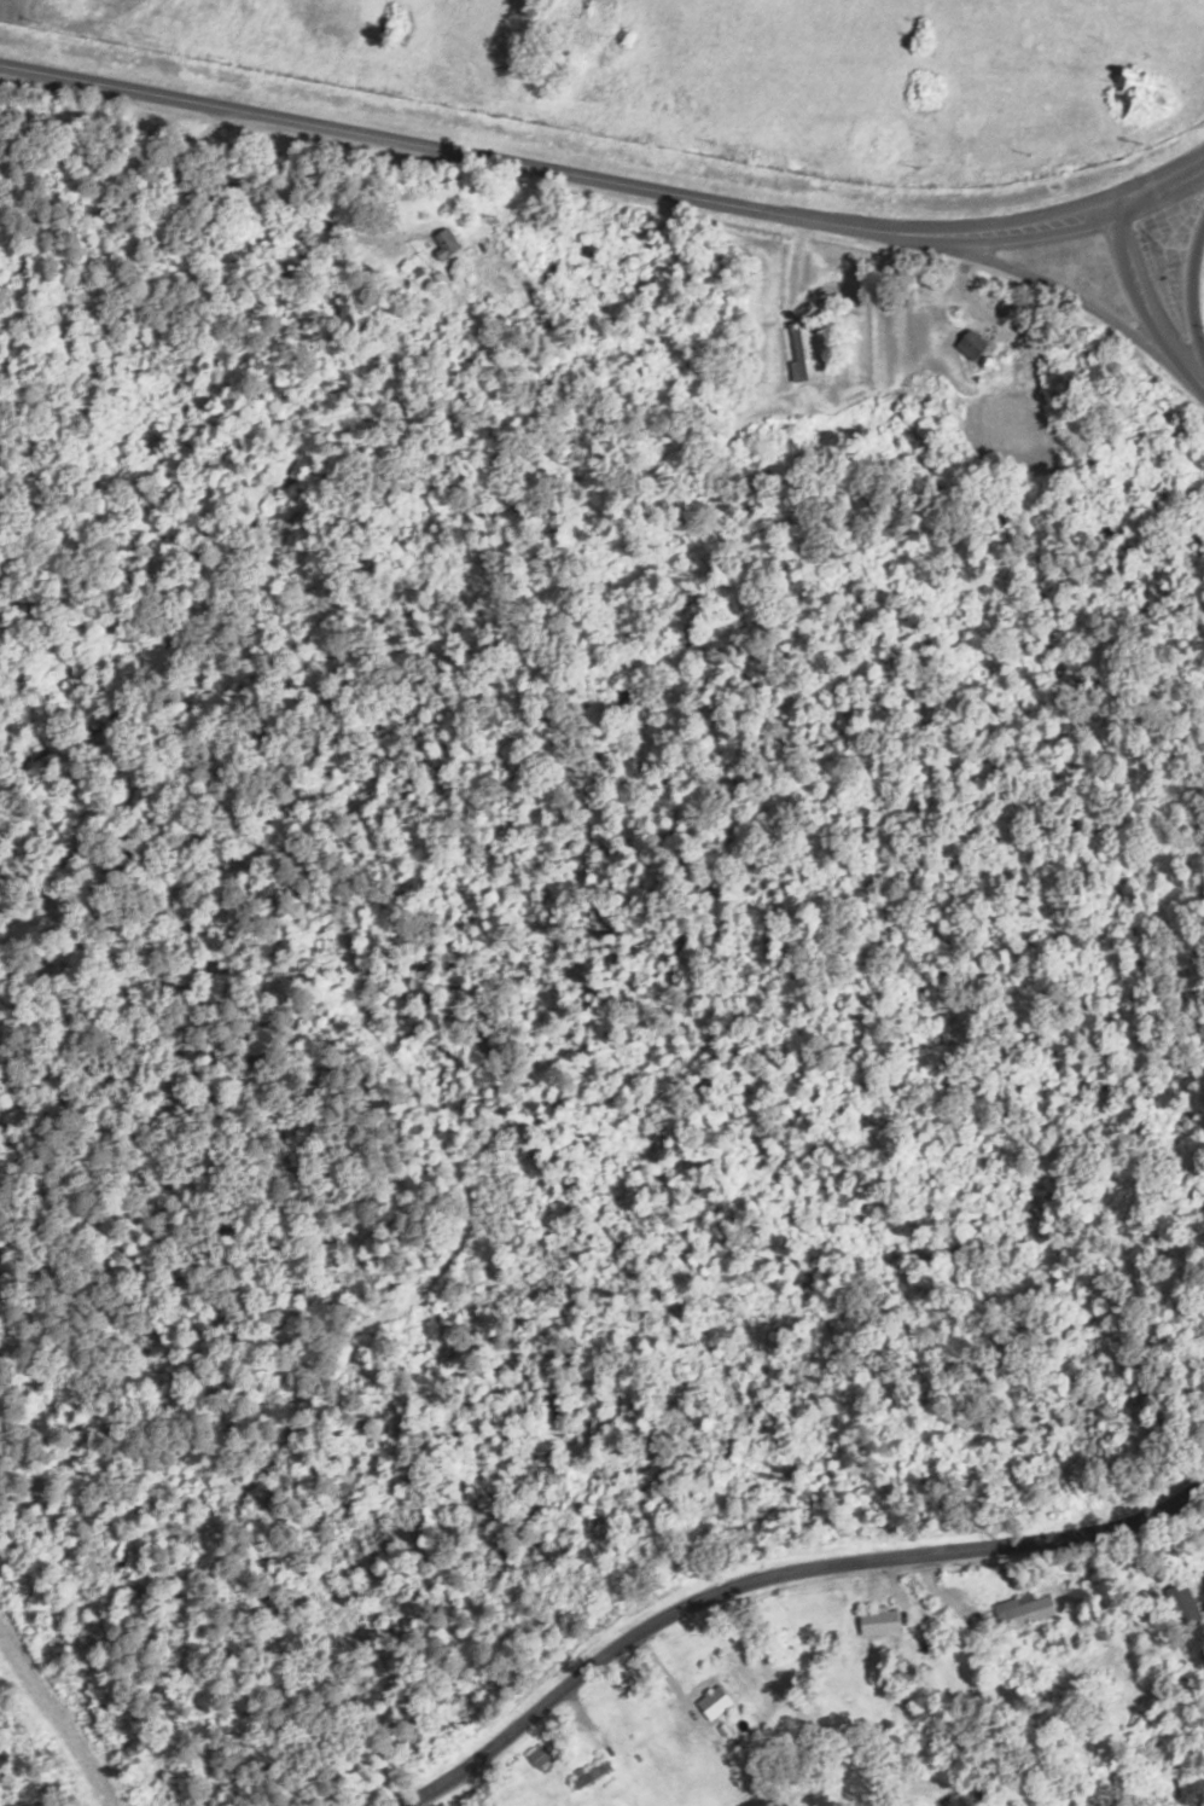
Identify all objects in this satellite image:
road: (245, 141)
road: (226, 161)
road: (605, 185)
building: (452, 244)
road: (1186, 312)
road: (1142, 315)
building: (972, 347)
building: (805, 354)
road: (714, 1535)
building: (1188, 1597)
building: (1029, 1612)
building: (882, 1621)
road: (1176, 1772)

